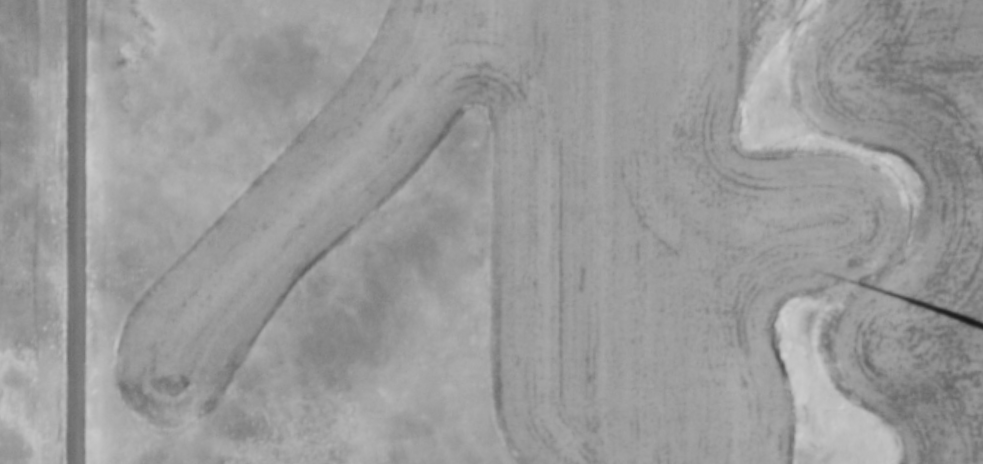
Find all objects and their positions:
road: (76, 232)

